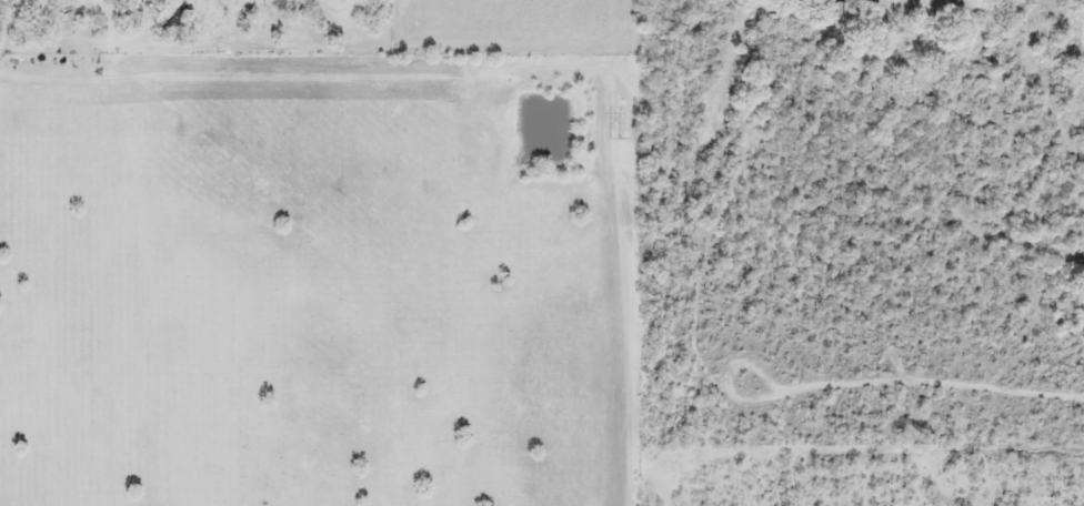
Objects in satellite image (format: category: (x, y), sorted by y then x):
building: (845, 8)
road: (108, 19)
power tower: (615, 138)
road: (982, 253)

